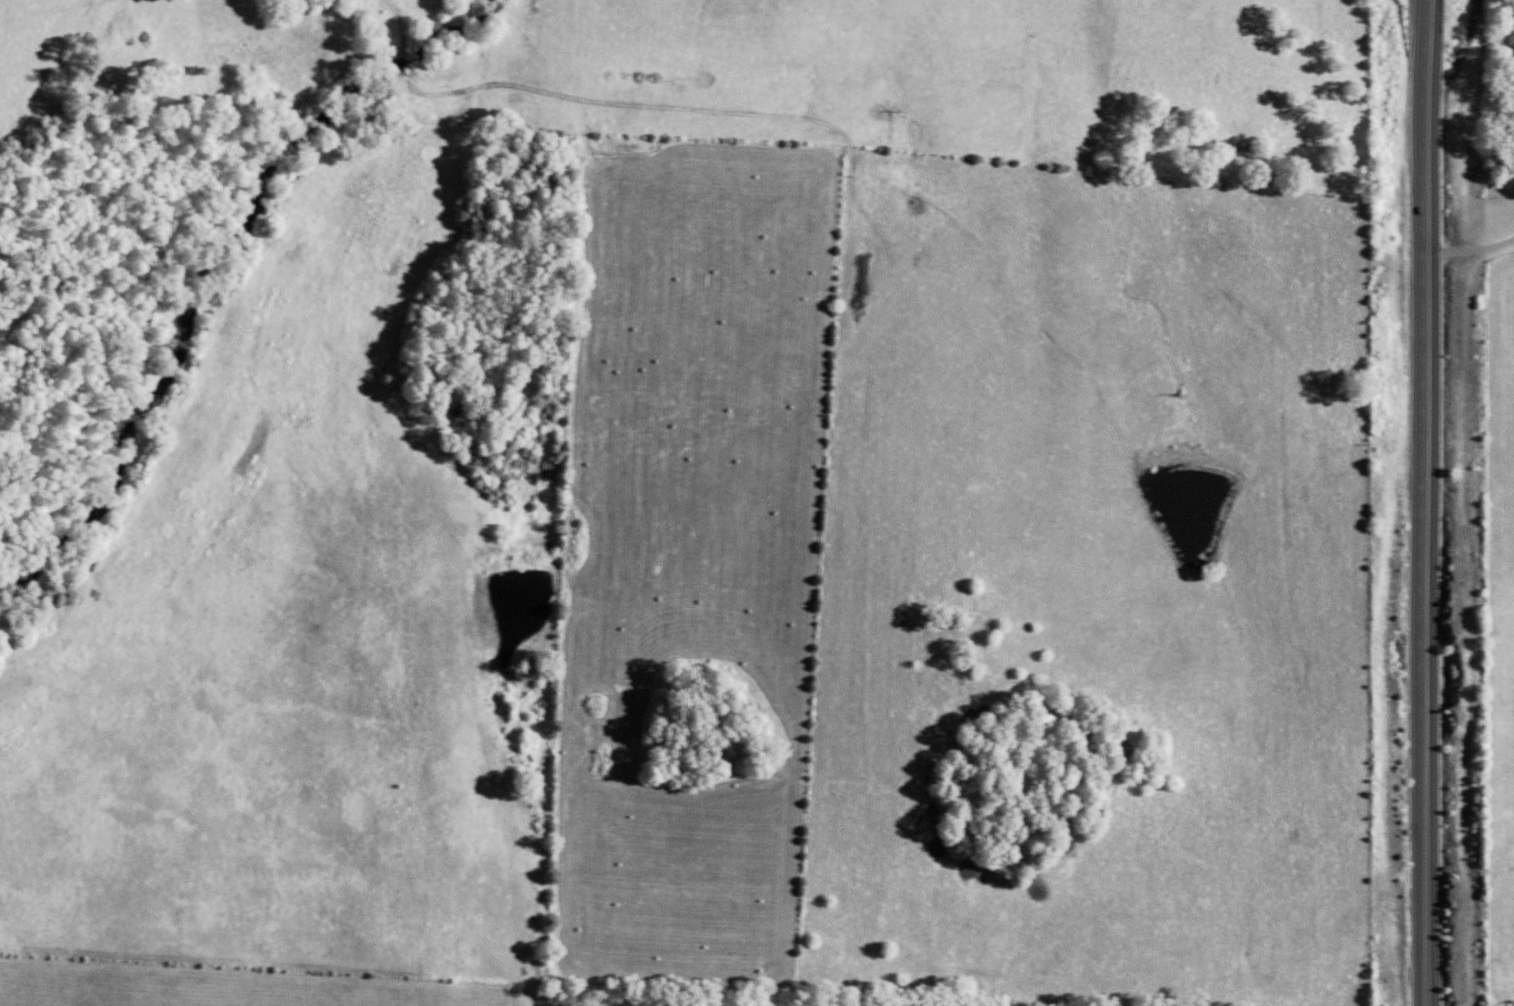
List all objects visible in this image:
road: (119, 17)
road: (1425, 503)

